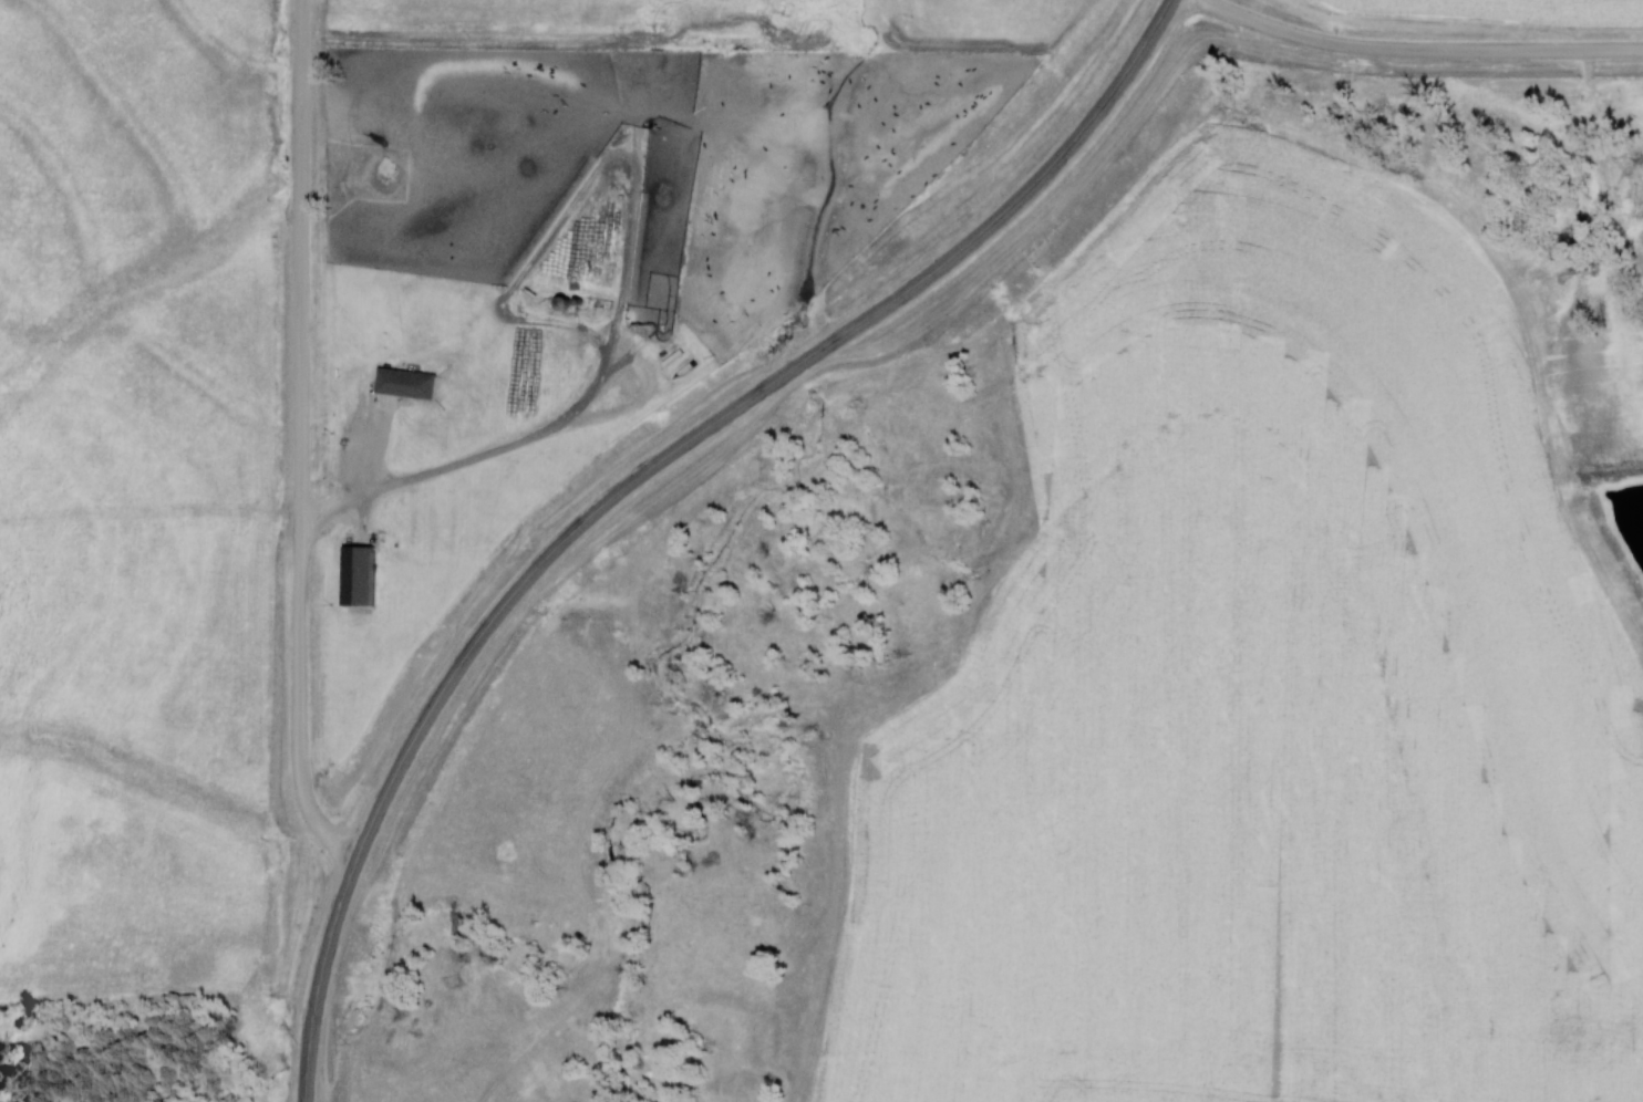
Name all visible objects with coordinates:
road: (1419, 48)
building: (403, 384)
road: (736, 405)
road: (297, 438)
road: (354, 478)
building: (353, 576)
road: (317, 976)

